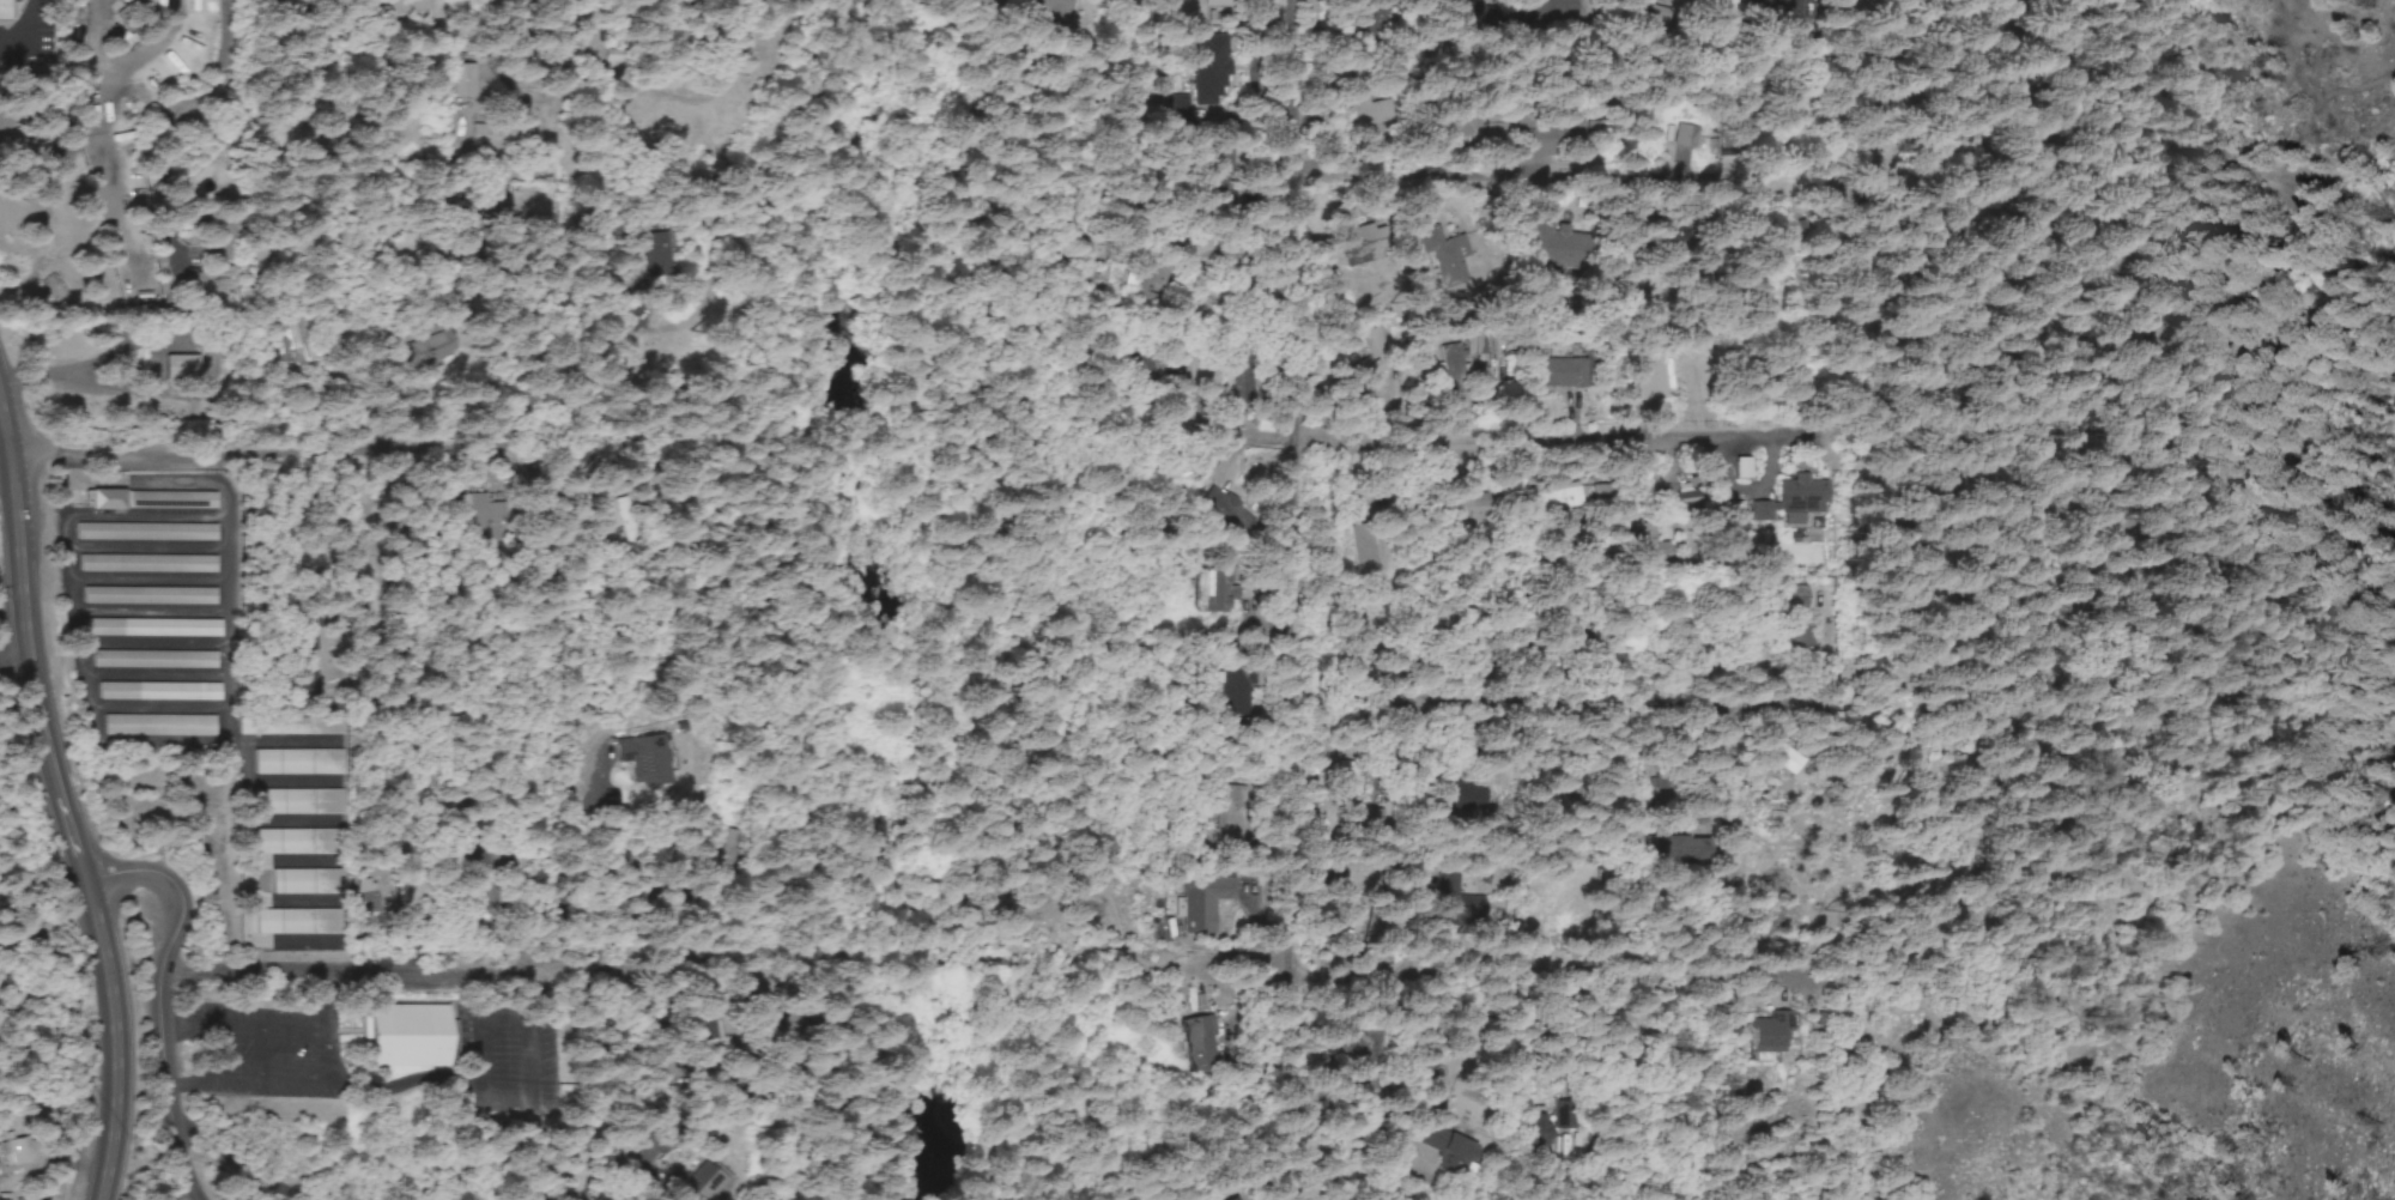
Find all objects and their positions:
building: (1184, 7)
building: (1642, 8)
building: (4, 11)
building: (1196, 65)
building: (463, 83)
building: (1352, 114)
road: (1848, 127)
building: (1675, 138)
building: (1351, 242)
building: (645, 247)
building: (1542, 250)
building: (1437, 259)
building: (293, 341)
building: (1435, 364)
building: (1358, 366)
building: (180, 370)
building: (1548, 374)
building: (1225, 381)
road: (1545, 441)
road: (653, 448)
building: (145, 499)
building: (1541, 499)
building: (1785, 501)
building: (1453, 511)
building: (143, 532)
building: (143, 564)
building: (1208, 593)
building: (145, 595)
road: (1292, 599)
building: (148, 628)
building: (303, 641)
building: (151, 660)
building: (308, 684)
building: (156, 692)
road: (1553, 697)
building: (157, 726)
building: (287, 727)
road: (214, 751)
building: (655, 758)
building: (296, 763)
road: (67, 796)
building: (296, 801)
building: (297, 841)
road: (1449, 841)
road: (396, 843)
building: (460, 854)
building: (304, 880)
building: (364, 898)
building: (1203, 905)
building: (296, 920)
road: (987, 972)
road: (163, 996)
building: (1612, 1024)
building: (1763, 1034)
building: (405, 1036)
building: (1194, 1048)
road: (425, 1078)
road: (782, 1085)
building: (1562, 1117)
building: (14, 1154)
building: (704, 1187)

